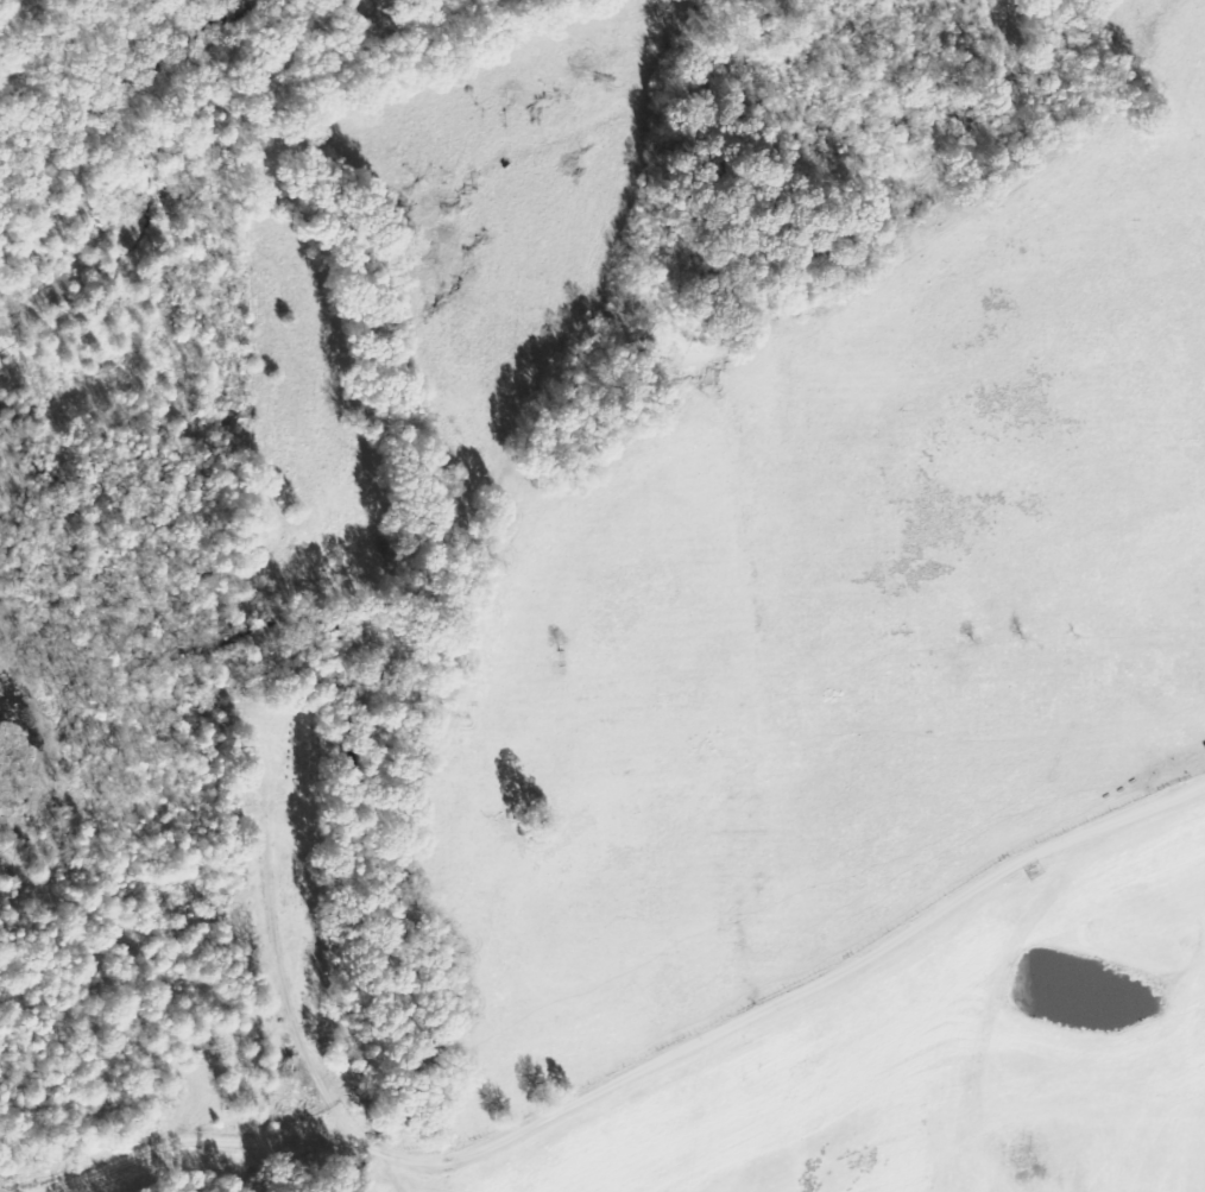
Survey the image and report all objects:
road: (645, 1068)

